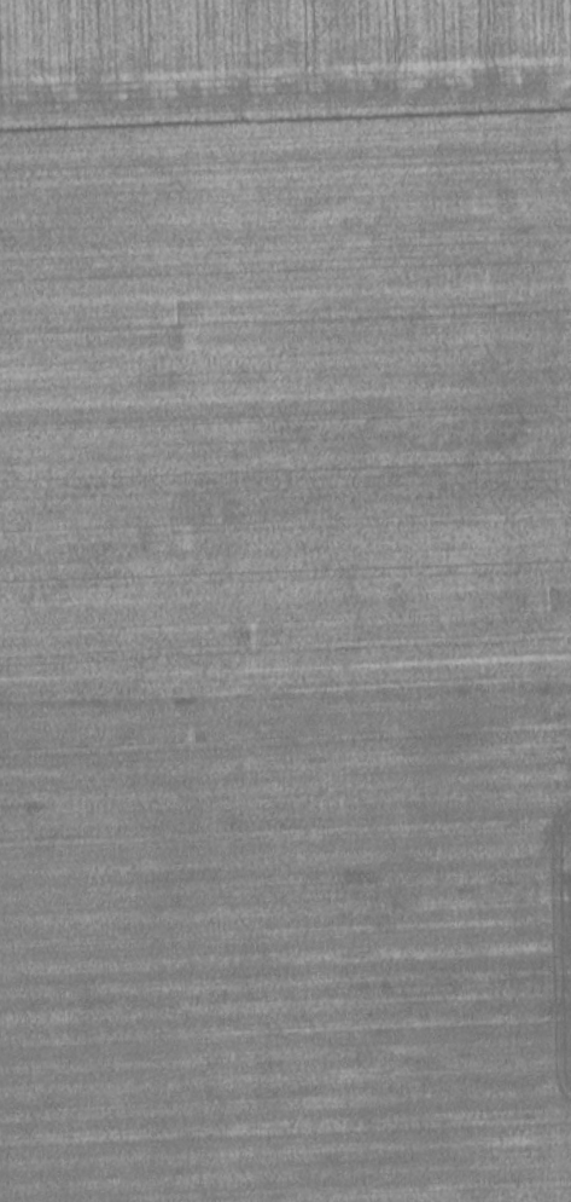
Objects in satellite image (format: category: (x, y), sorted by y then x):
crop: (282, 51)
crop: (285, 655)

